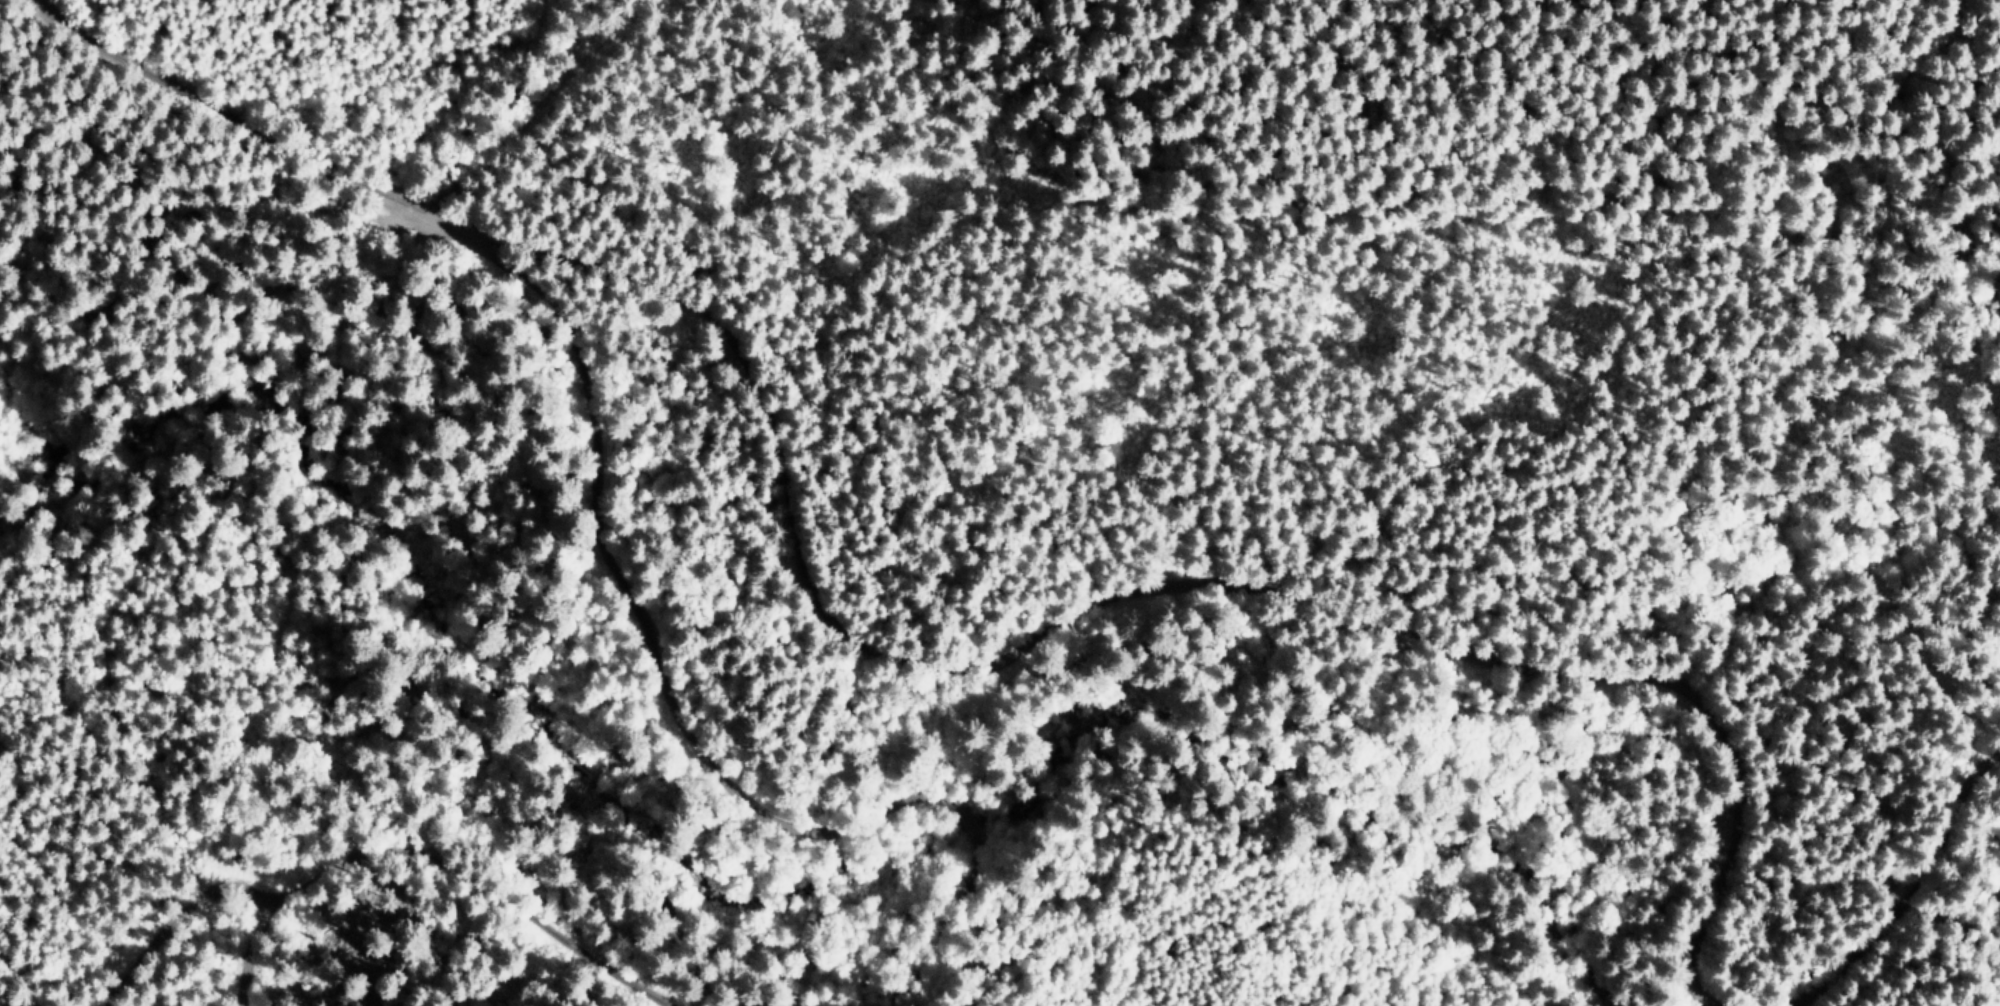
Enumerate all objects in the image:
road: (531, 103)
road: (658, 654)
road: (919, 667)
road: (880, 767)
road: (449, 890)
road: (242, 921)
road: (1930, 926)
road: (220, 939)
road: (153, 963)
road: (228, 988)
road: (2, 1005)

